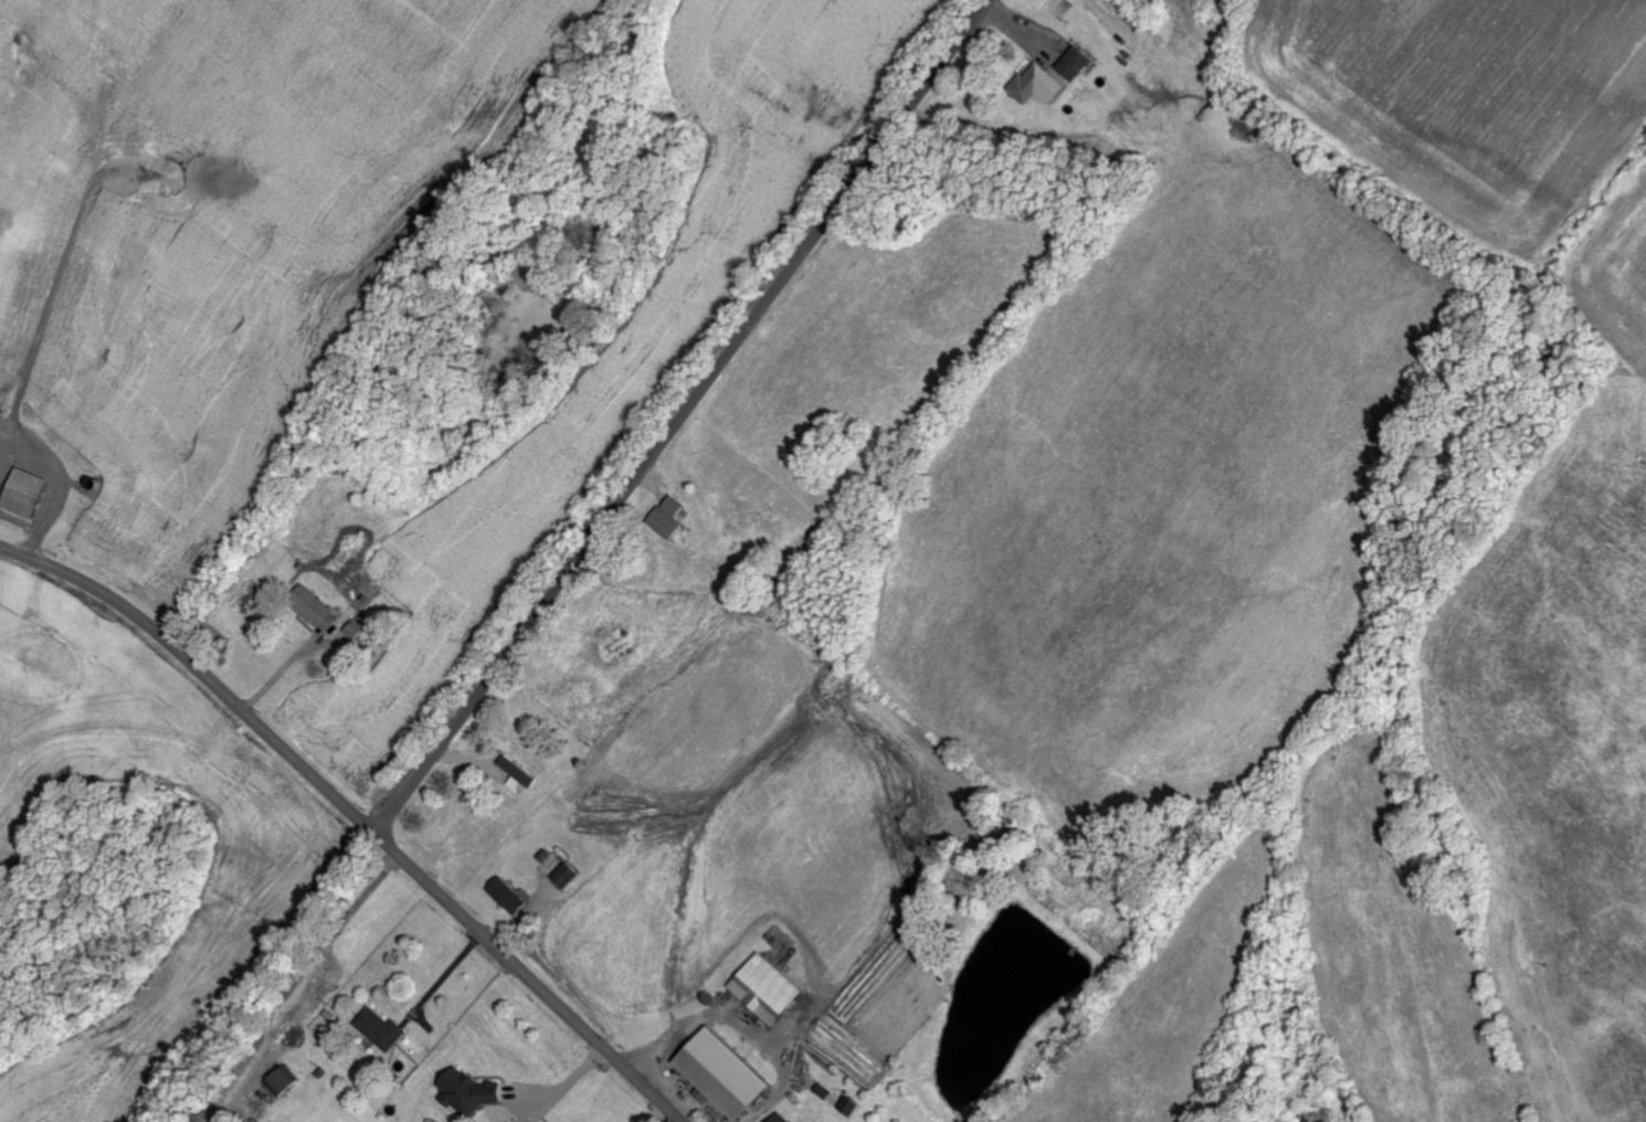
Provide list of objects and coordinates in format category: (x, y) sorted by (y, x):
building: (1076, 65)
building: (1038, 86)
road: (684, 417)
building: (25, 494)
building: (671, 517)
road: (31, 527)
building: (315, 608)
road: (284, 671)
building: (519, 772)
road: (354, 815)
building: (567, 876)
building: (508, 896)
road: (321, 960)
road: (447, 976)
building: (767, 989)
building: (382, 1029)
building: (725, 1075)
building: (468, 1093)
building: (503, 1114)
building: (781, 1119)

